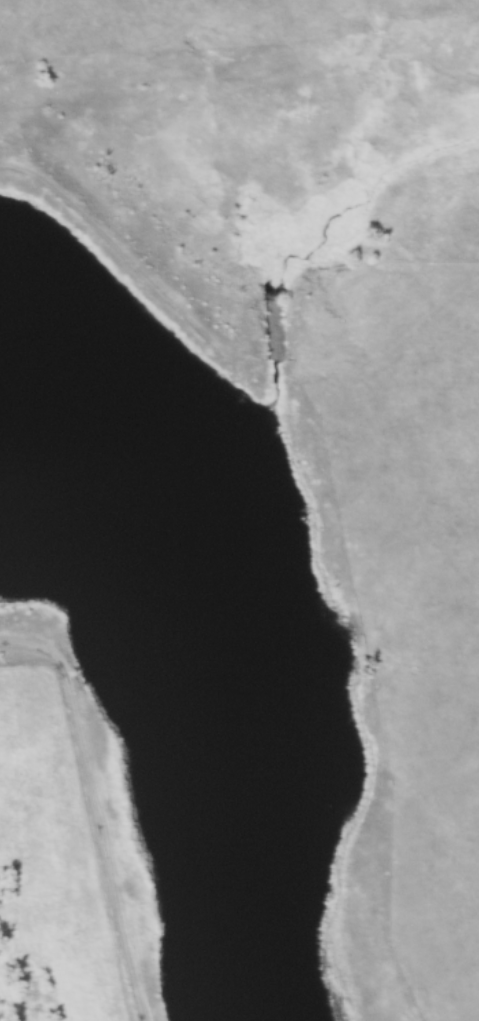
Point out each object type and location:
road: (88, 808)

